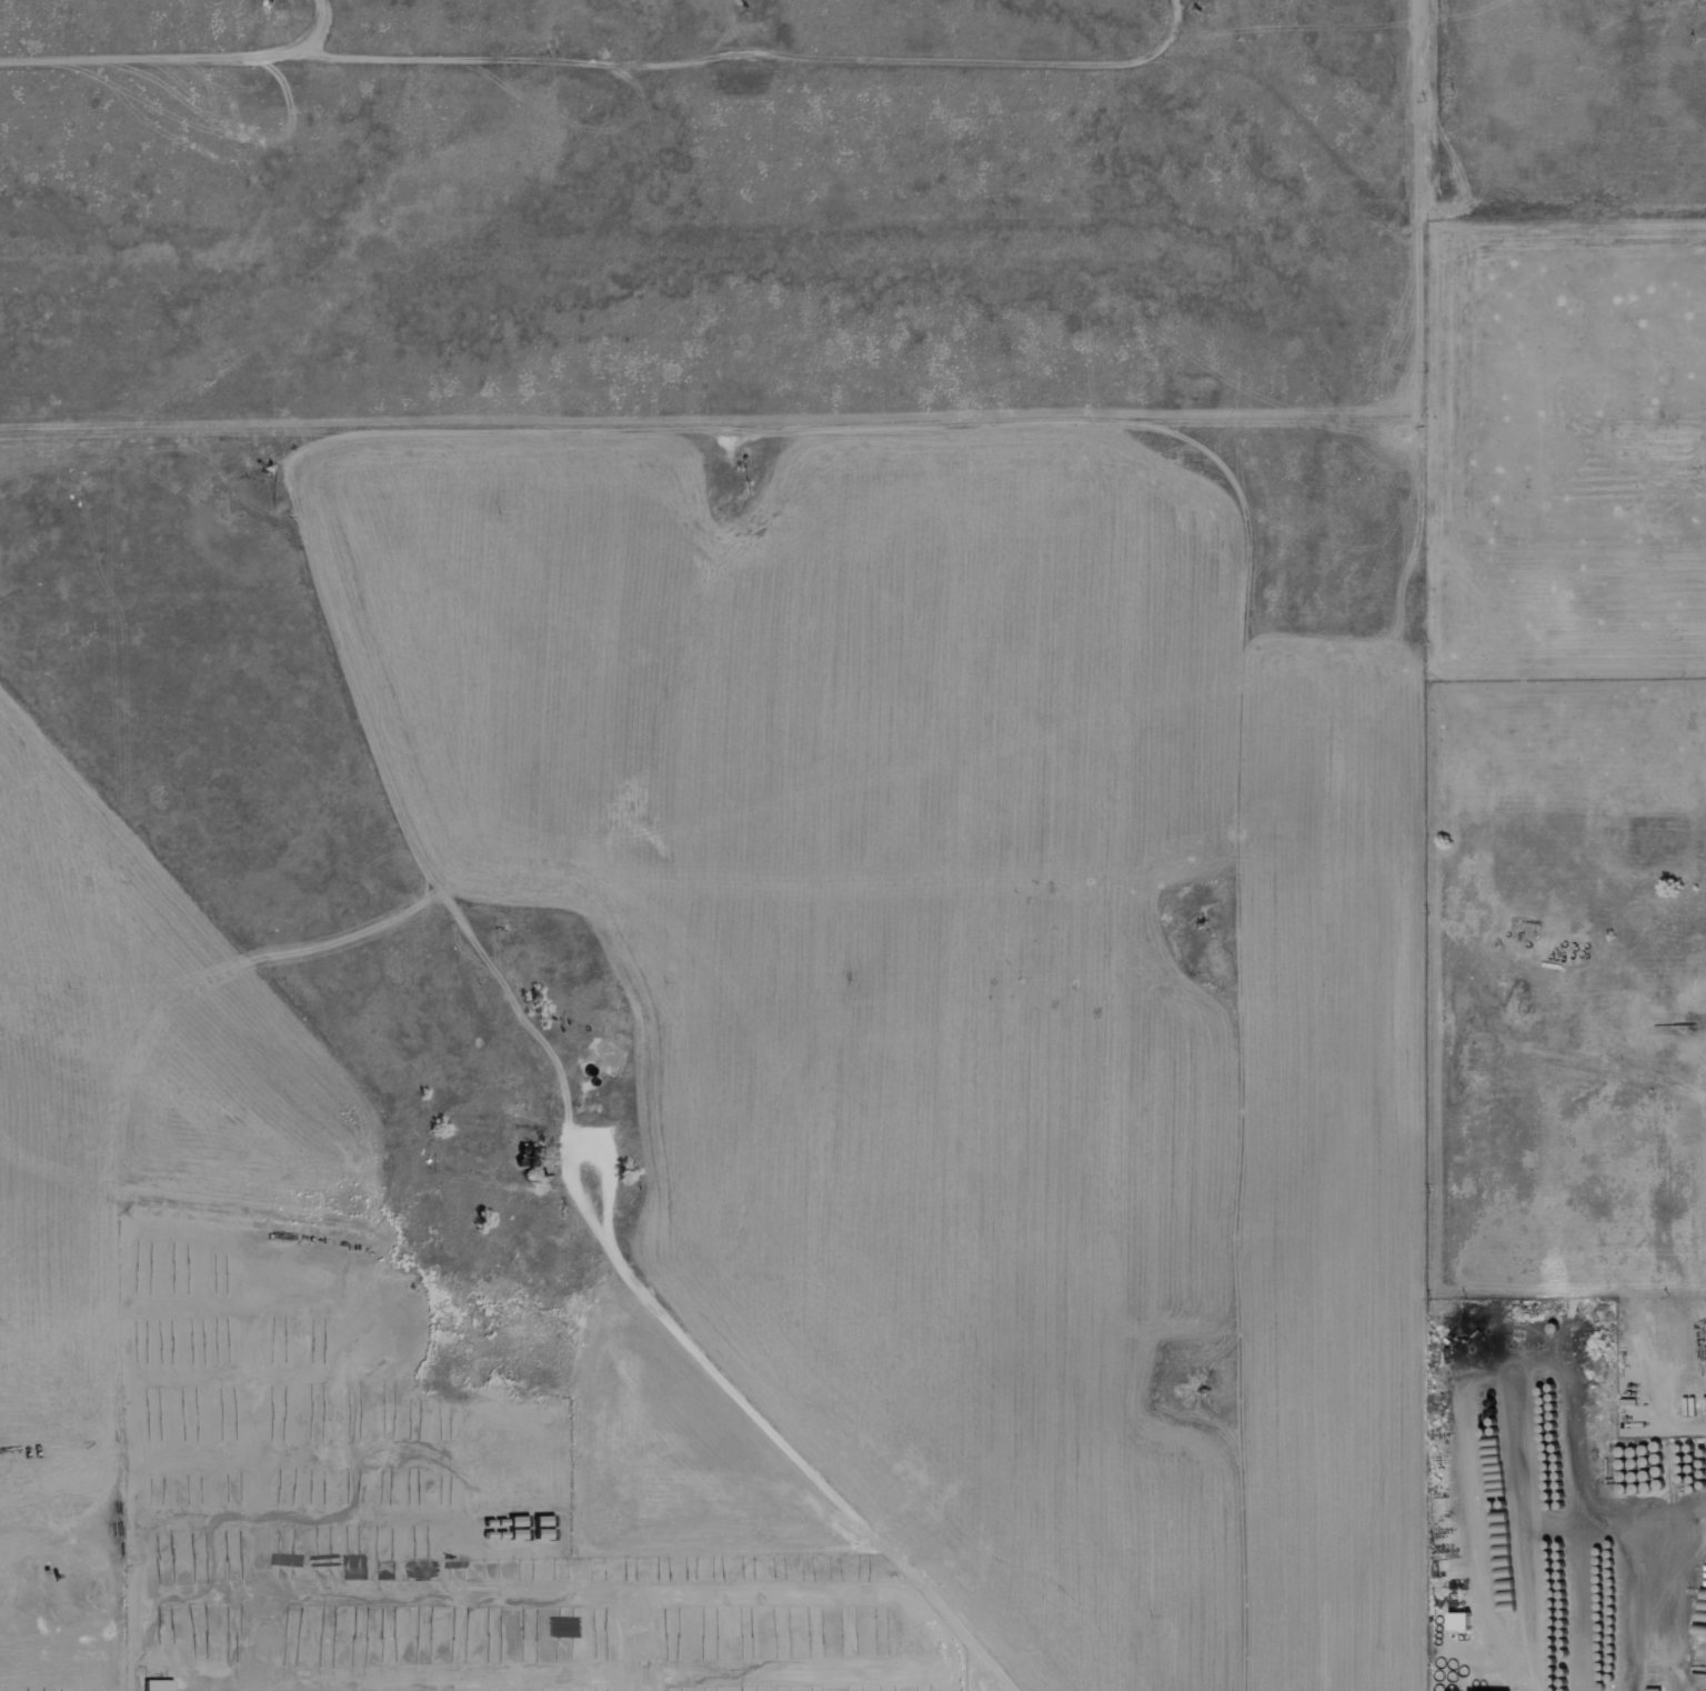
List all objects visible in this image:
road: (773, 1419)
building: (161, 1684)

